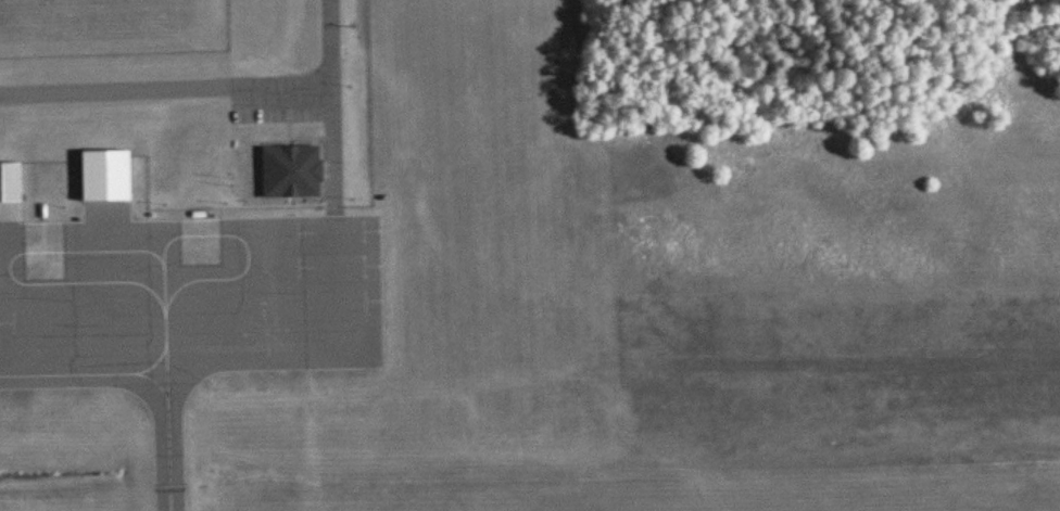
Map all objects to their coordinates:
road: (207, 85)
road: (336, 146)
building: (288, 168)
building: (102, 173)
building: (9, 179)
airport: (432, 285)
airport taxiway: (142, 378)

